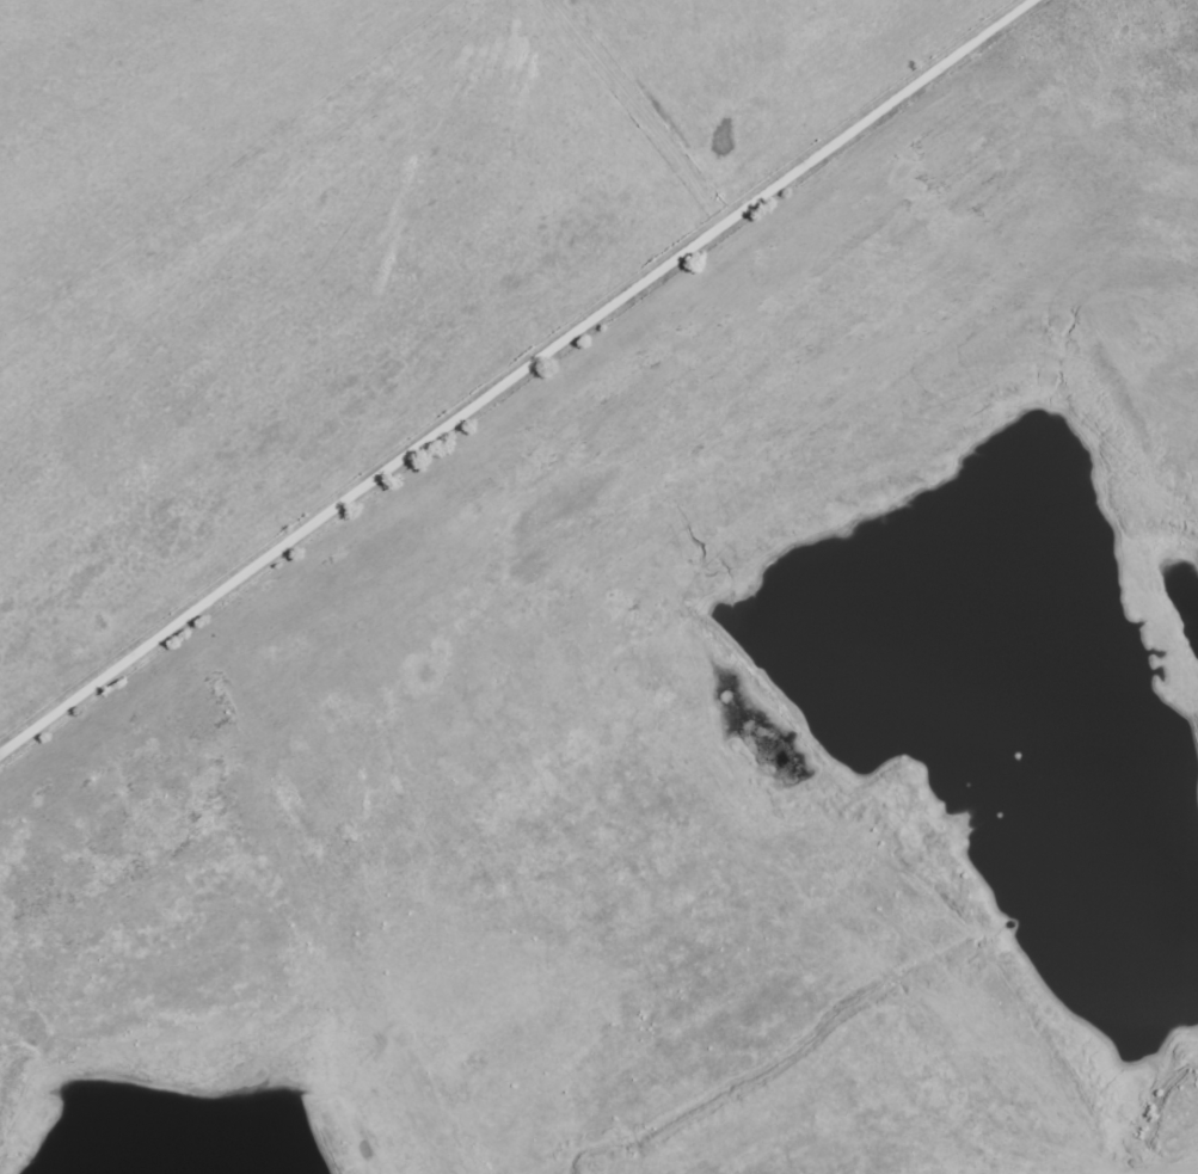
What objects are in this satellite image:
road: (517, 377)

